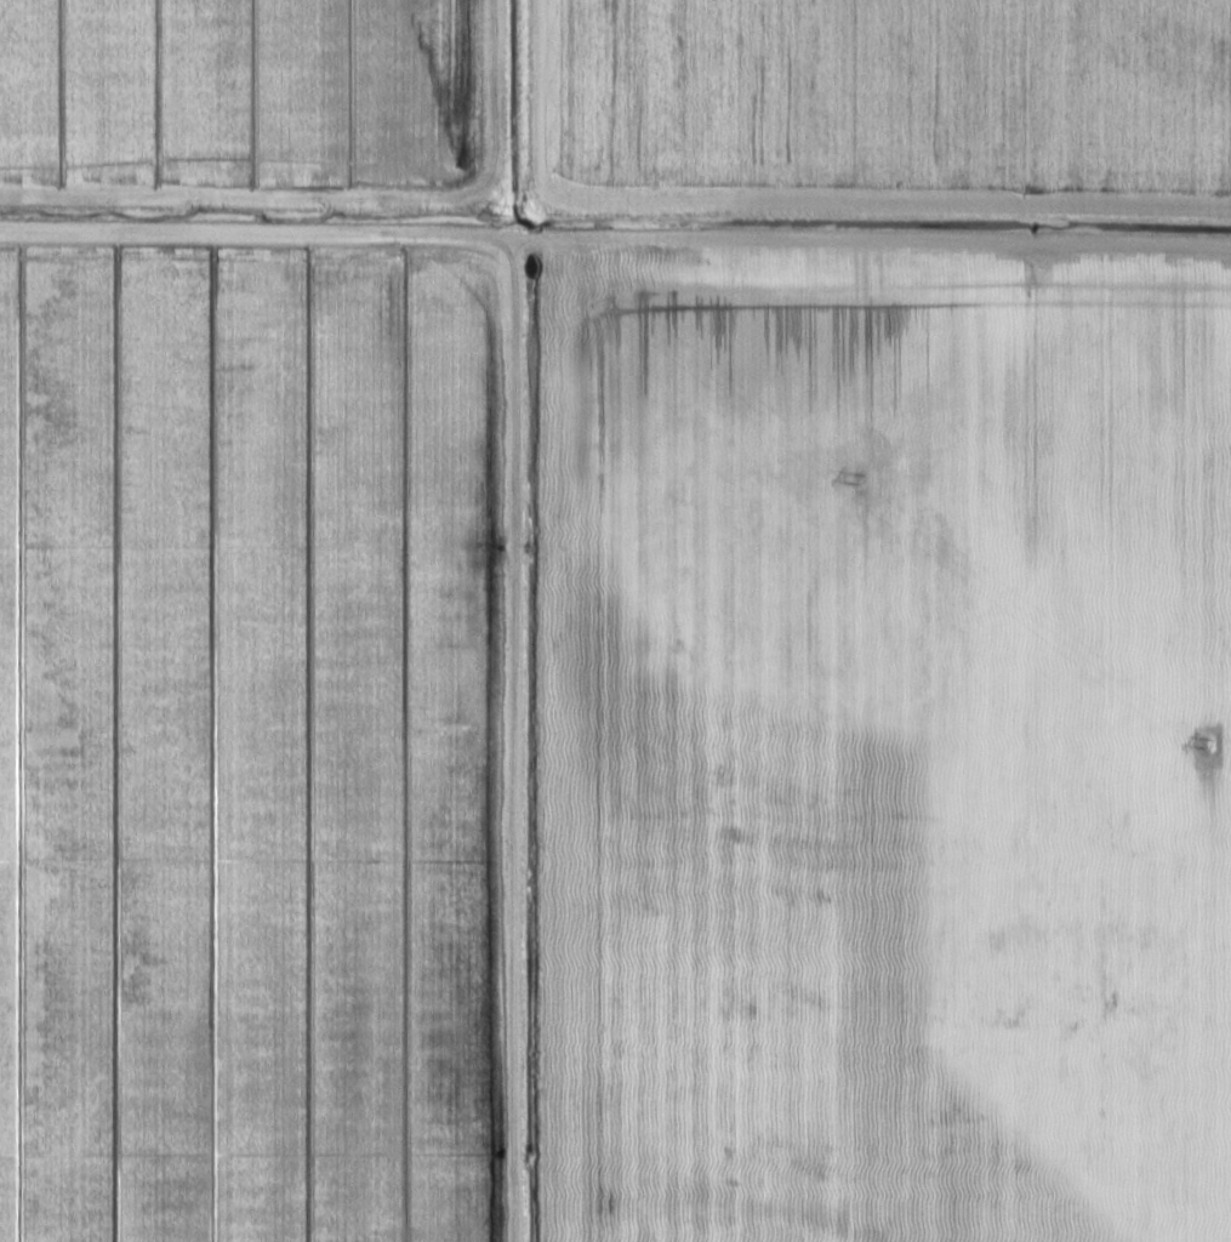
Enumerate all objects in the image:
road: (615, 222)

